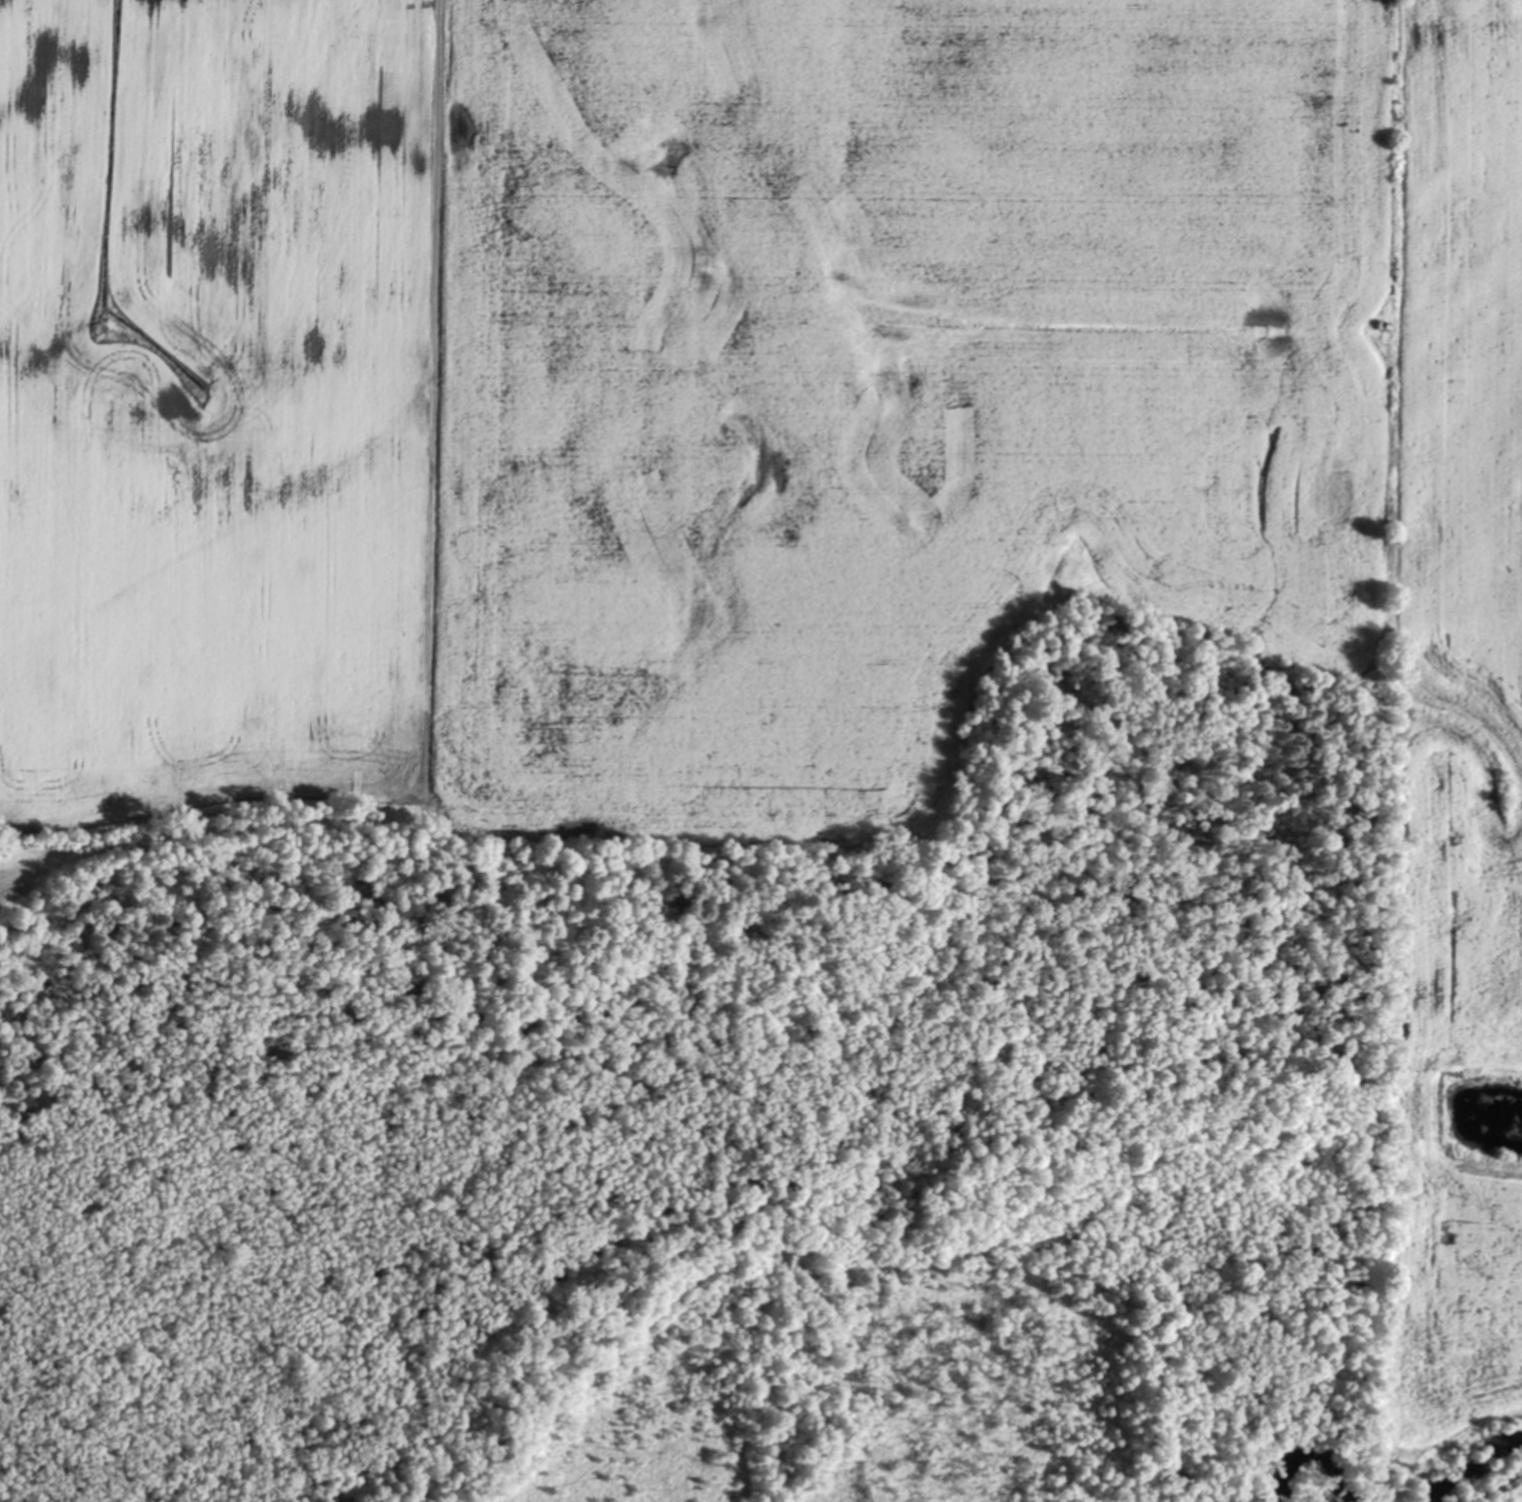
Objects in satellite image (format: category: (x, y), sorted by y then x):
quarry: (1458, 1114)

